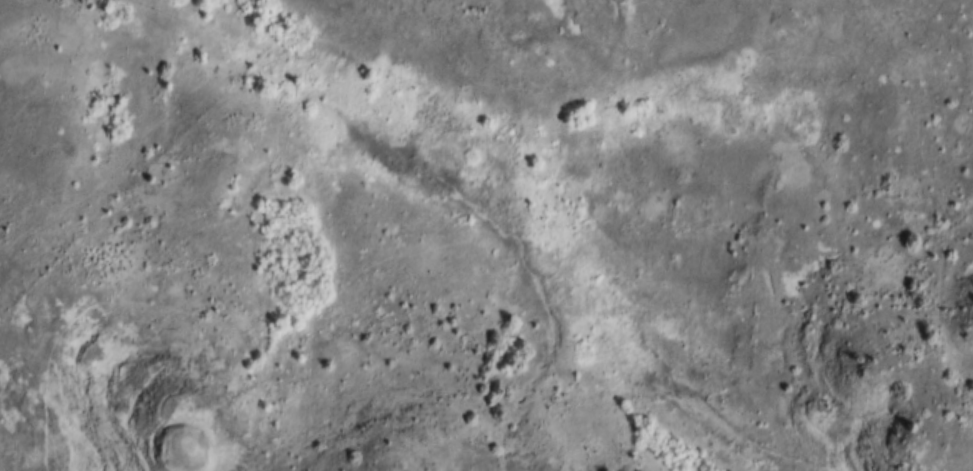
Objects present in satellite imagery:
road: (14, 213)

